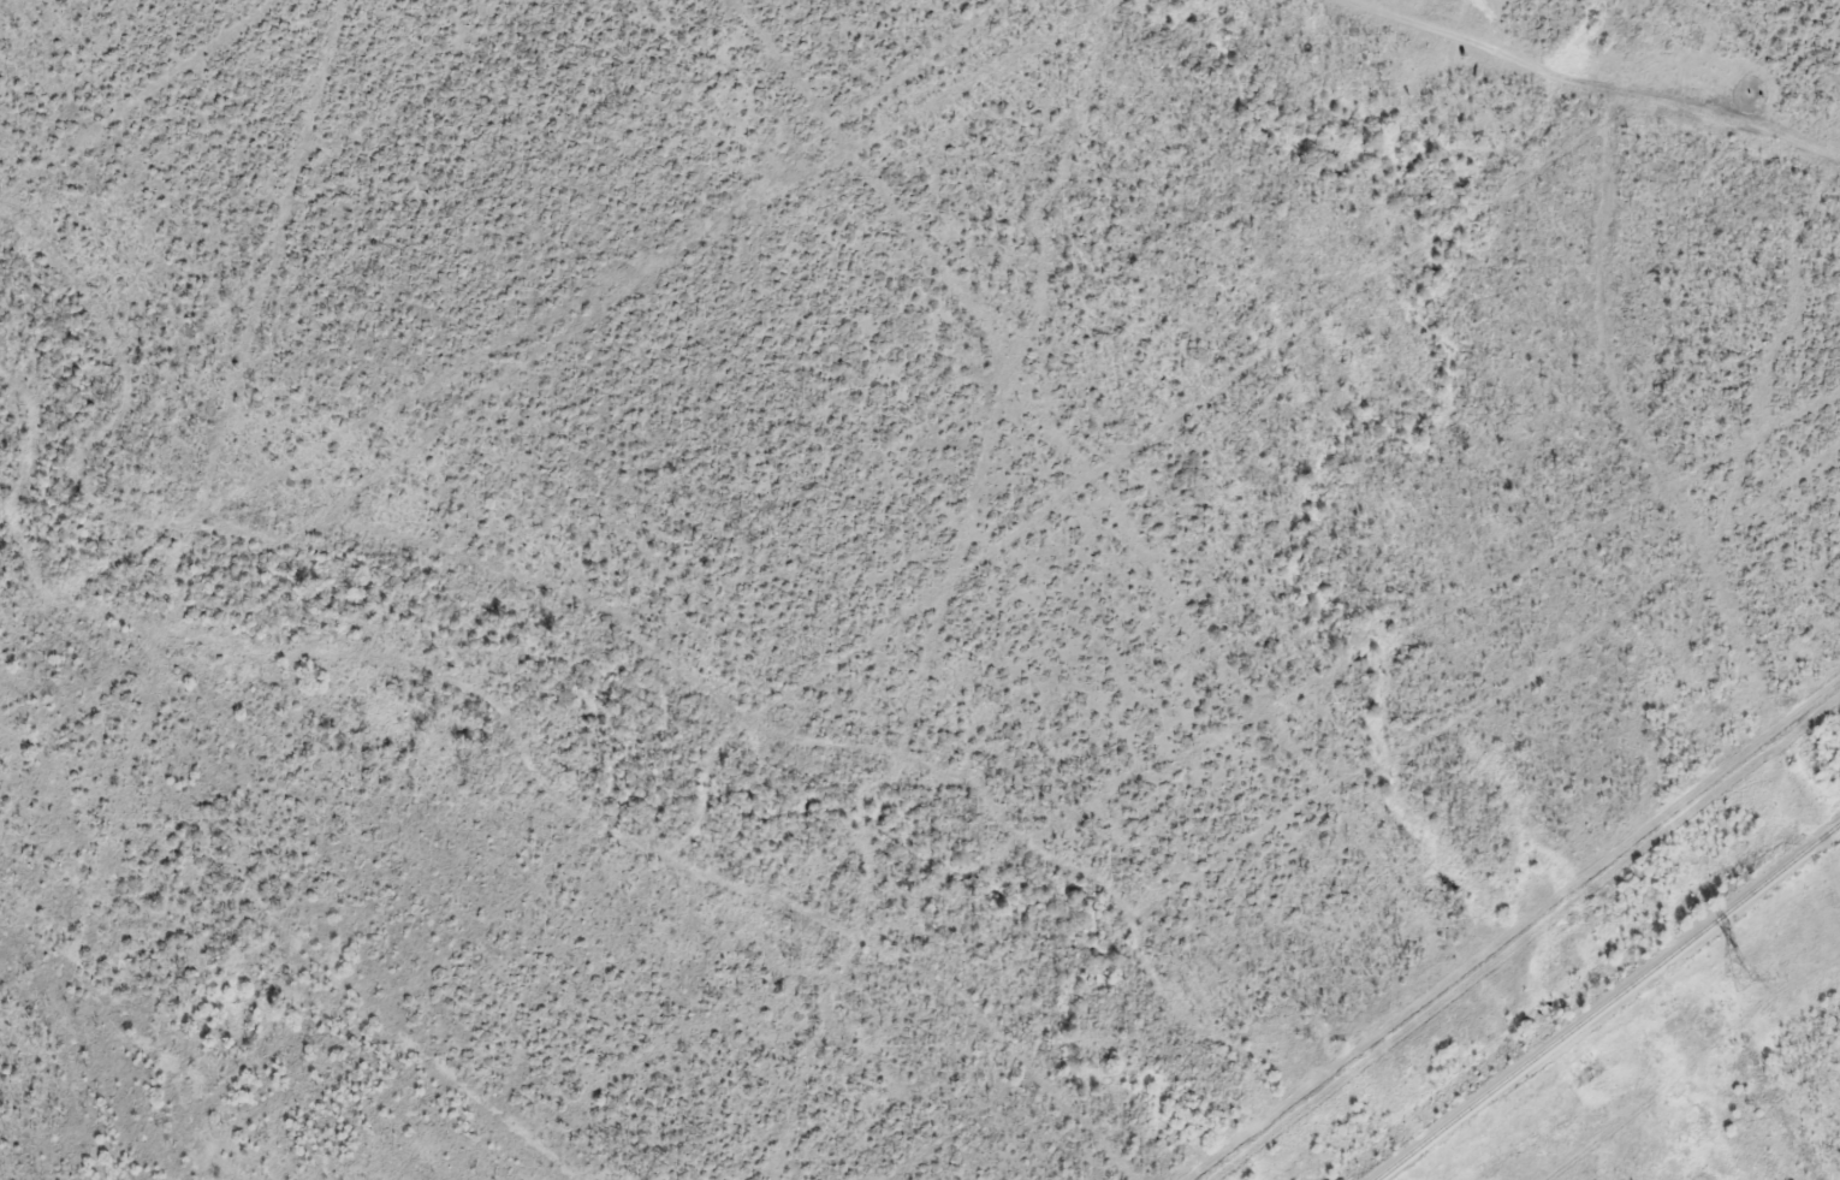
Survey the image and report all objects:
power tower: (1741, 979)
railway: (1607, 1000)

